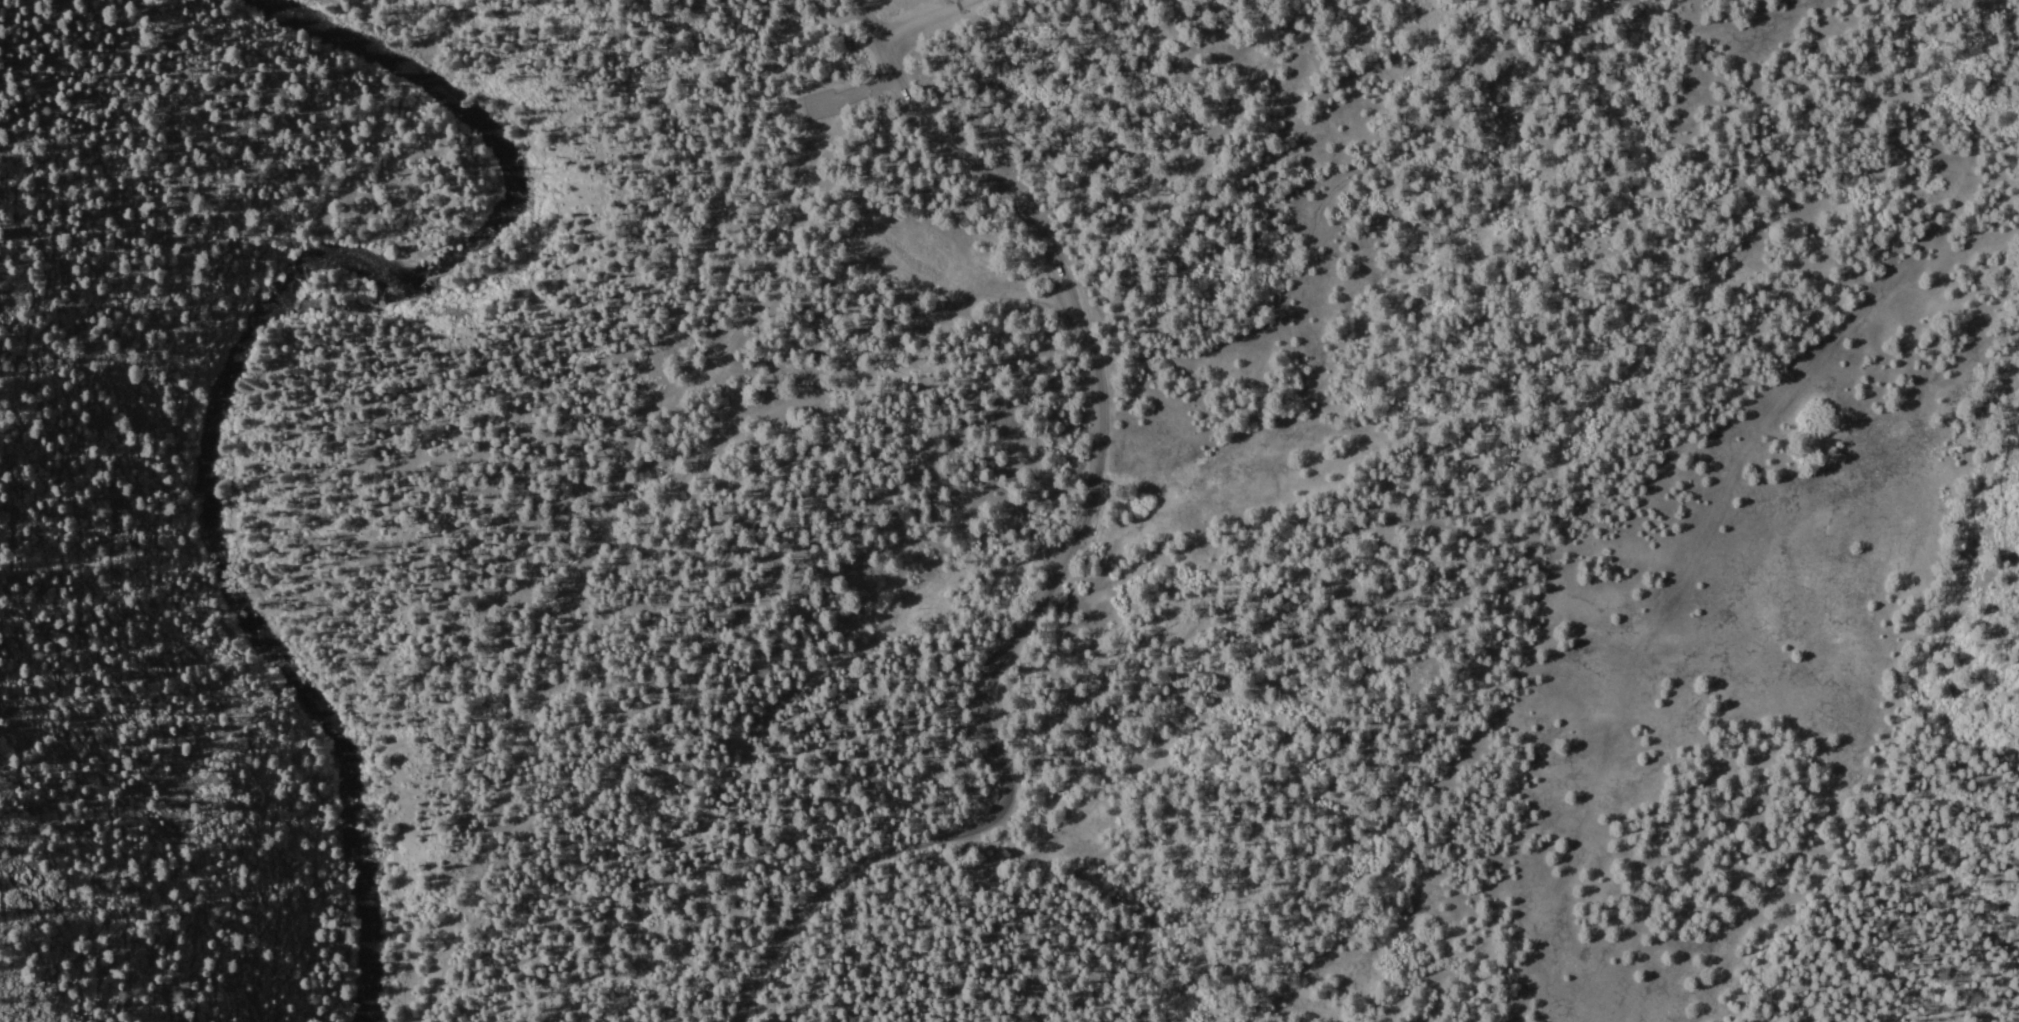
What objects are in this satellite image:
road: (918, 19)
road: (864, 54)
river: (218, 362)
road: (1065, 559)
park: (1075, 801)

